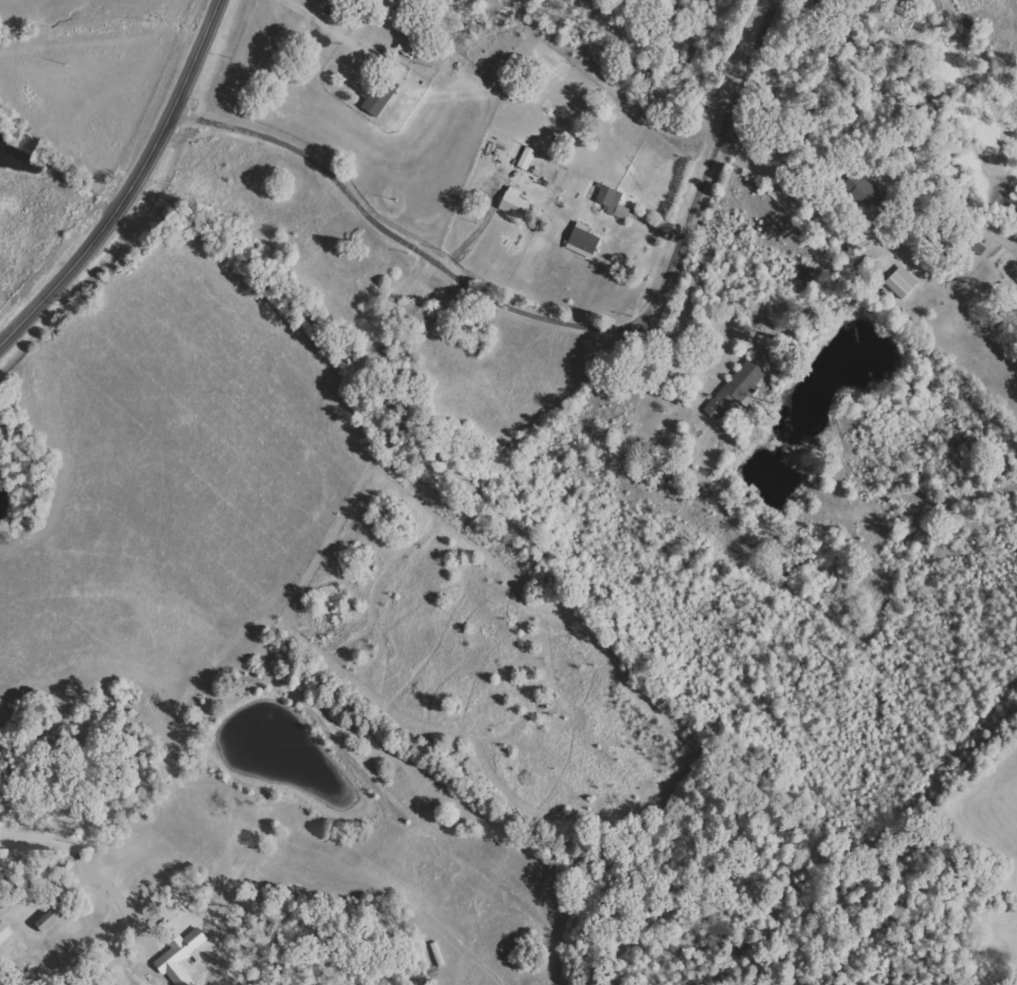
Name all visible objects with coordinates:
road: (827, 12)
road: (305, 13)
building: (383, 91)
building: (527, 158)
road: (793, 176)
building: (860, 187)
road: (138, 188)
building: (613, 201)
building: (514, 205)
road: (664, 229)
building: (583, 240)
building: (901, 282)
road: (571, 304)
building: (418, 315)
building: (734, 391)
road: (82, 860)
building: (48, 920)
building: (4, 933)
building: (180, 957)

